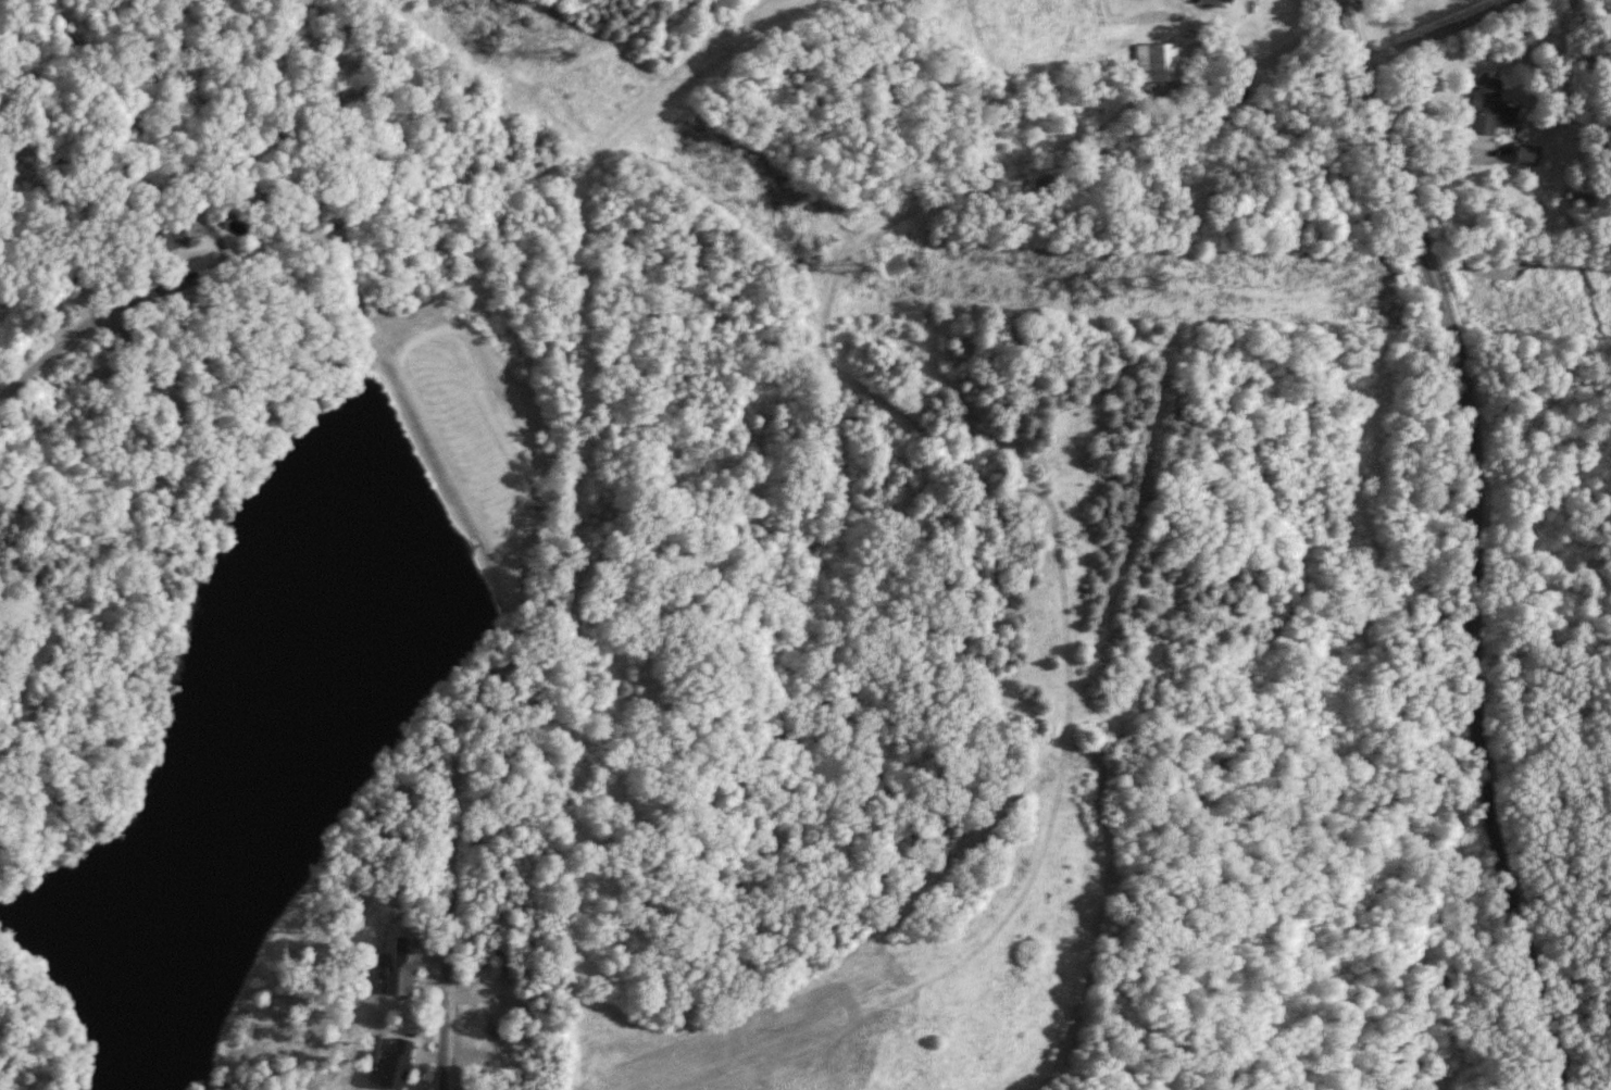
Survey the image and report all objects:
building: (1210, 2)
road: (1437, 32)
road: (1275, 54)
power tower: (545, 58)
building: (1153, 62)
building: (1487, 107)
building: (1525, 154)
road: (114, 206)
building: (166, 239)
power tower: (841, 276)
power tower: (1141, 286)
road: (112, 310)
dam: (473, 456)
road: (127, 517)
road: (1476, 538)
building: (396, 975)
road: (447, 1015)
building: (390, 1064)

